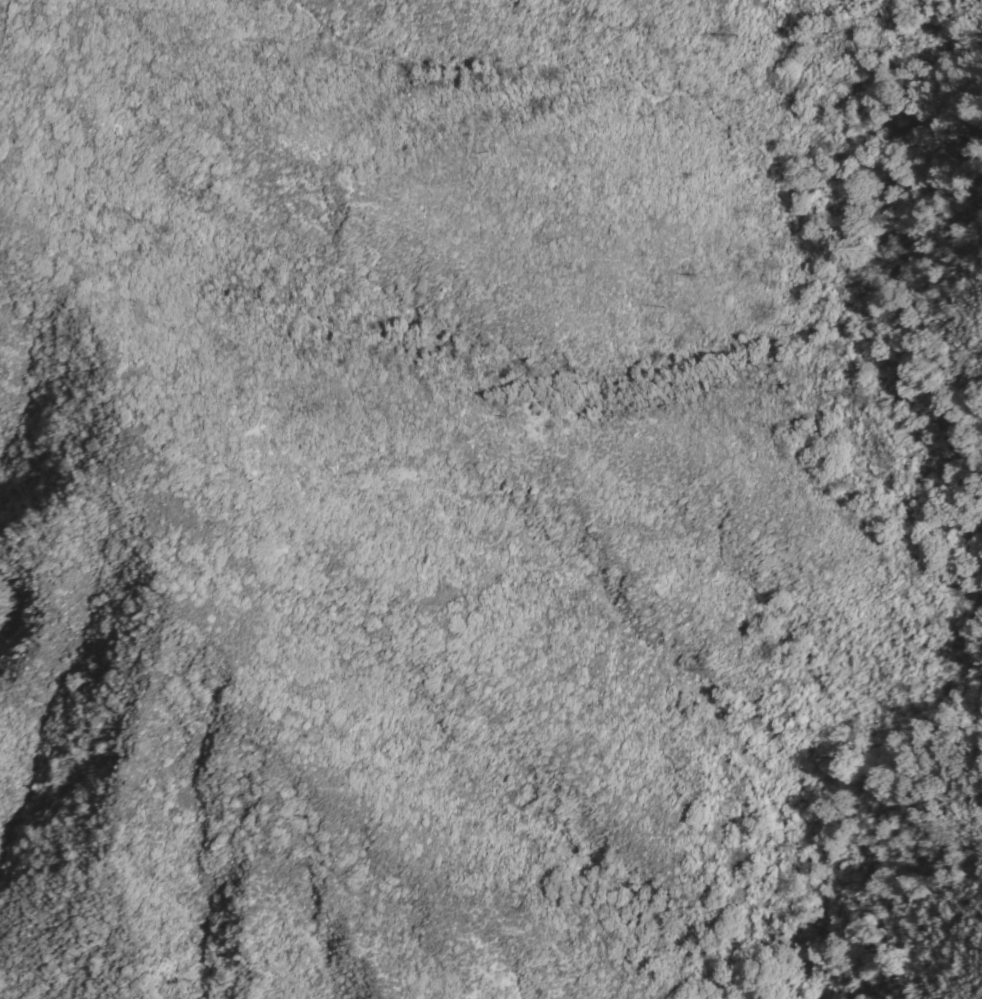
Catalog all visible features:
road: (3, 17)

